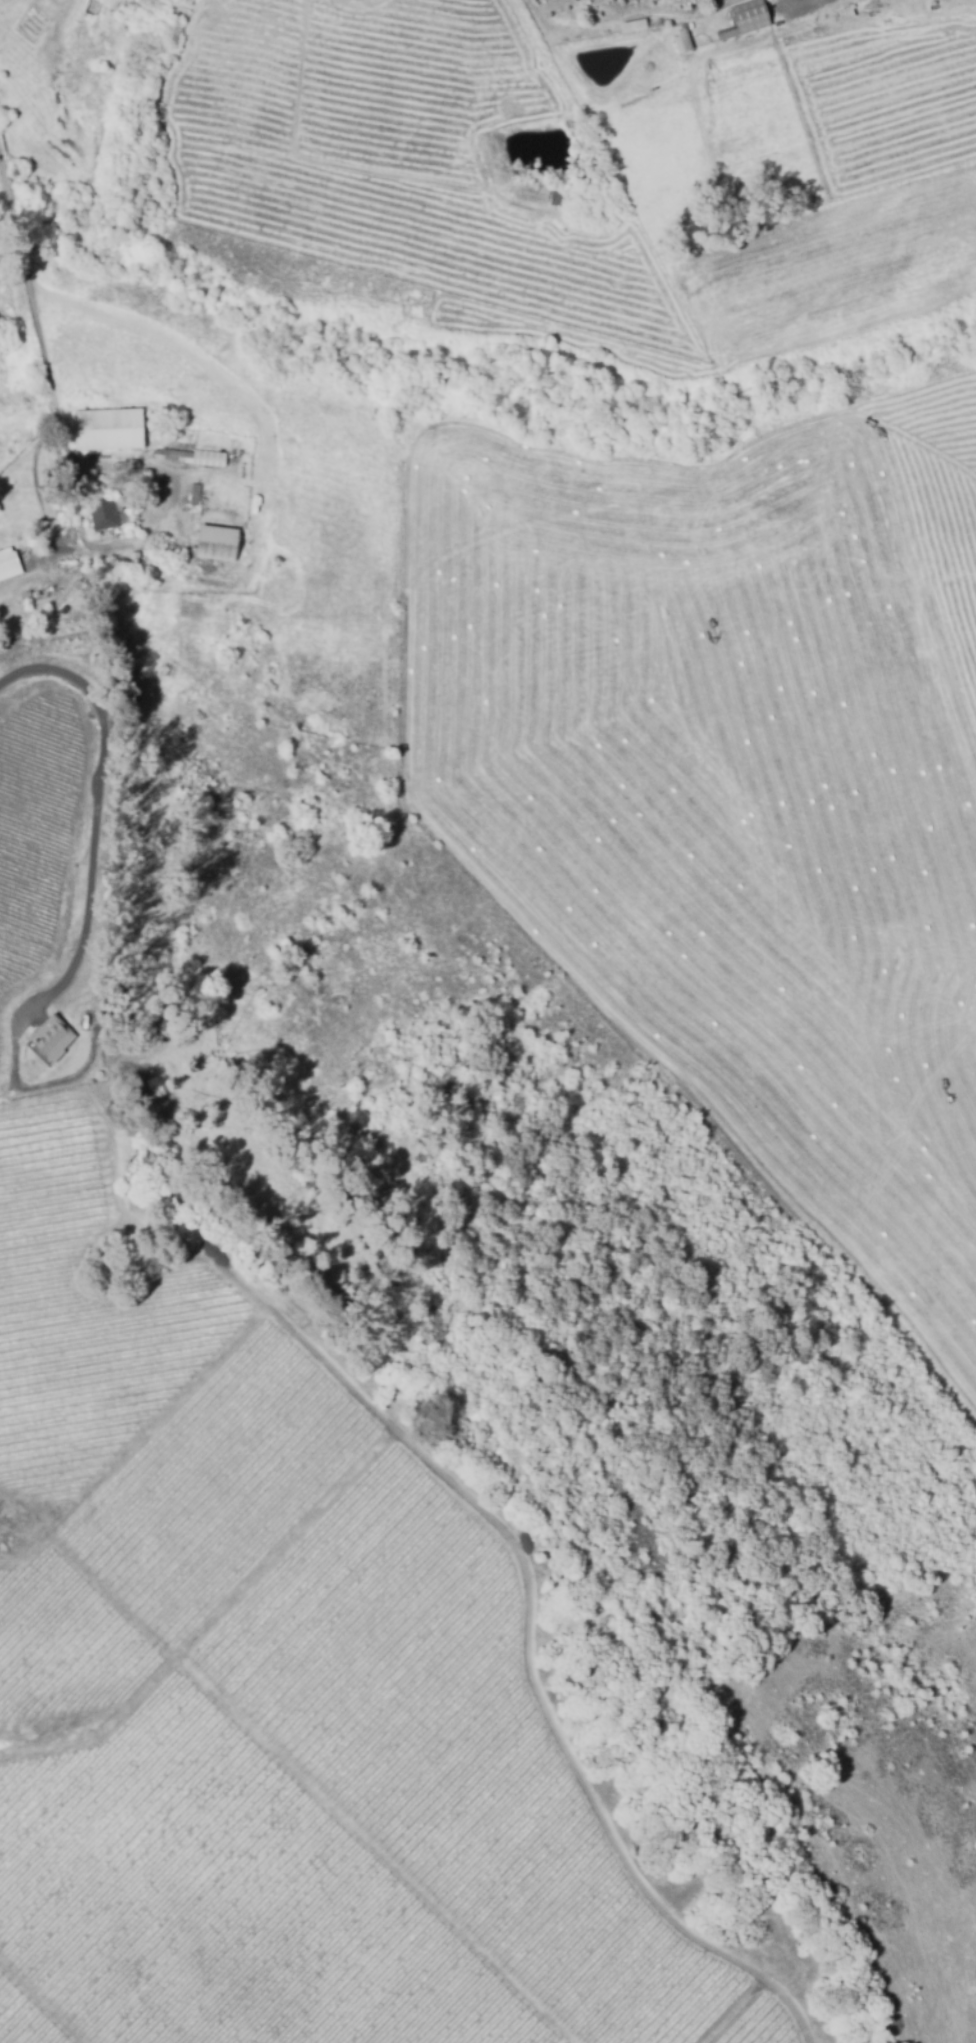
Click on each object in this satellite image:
road: (65, 14)
building: (752, 14)
building: (730, 32)
building: (686, 36)
building: (681, 41)
building: (7, 139)
road: (30, 279)
building: (110, 432)
building: (194, 455)
building: (151, 489)
building: (196, 493)
building: (110, 512)
building: (218, 542)
building: (173, 550)
building: (9, 562)
building: (28, 592)
building: (37, 592)
road: (107, 812)
crop: (36, 822)
building: (50, 1039)
crop: (2, 1046)
crop: (80, 1314)
crop: (222, 1480)
crop: (64, 1643)
crop: (455, 1750)
crop: (222, 1901)
crop: (24, 2019)
crop: (762, 2025)

